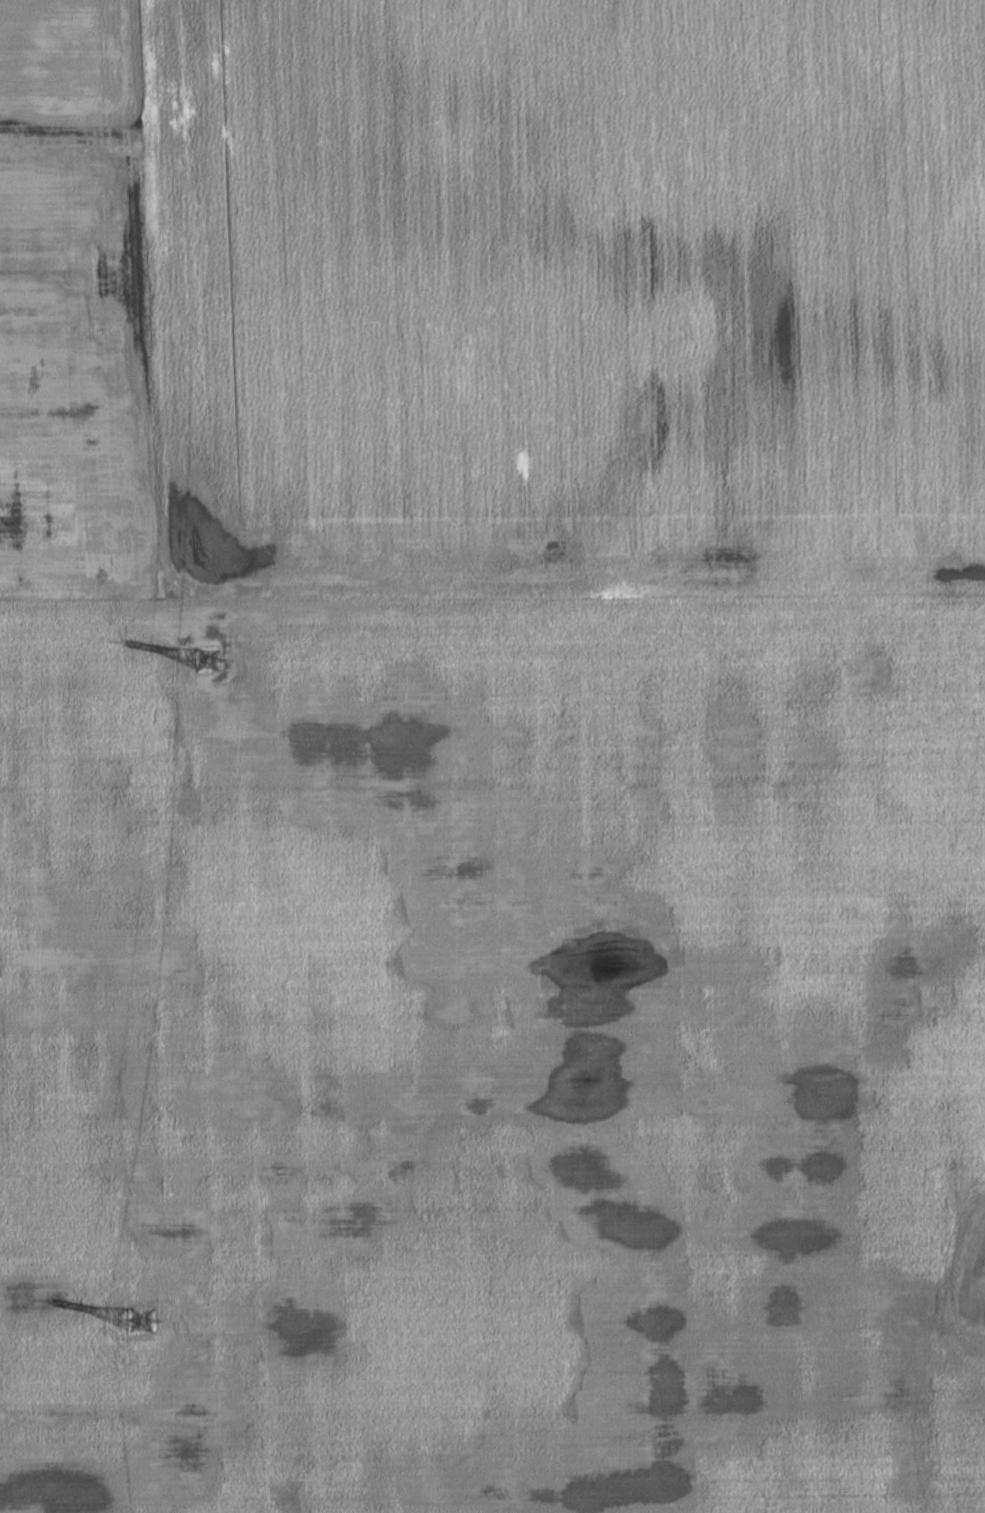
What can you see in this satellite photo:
crop: (490, 295)
power tower: (199, 655)
crop: (490, 1049)
power tower: (139, 1323)

